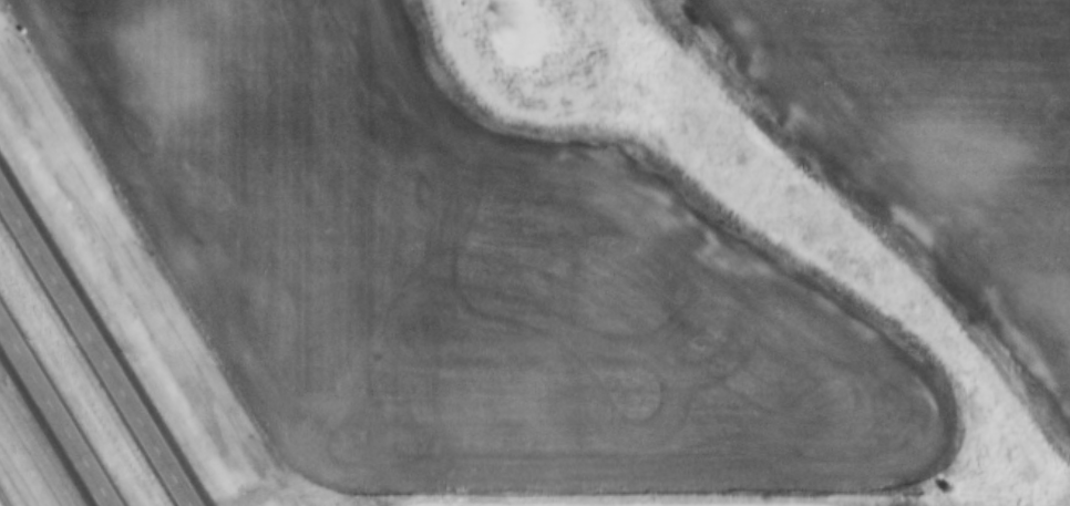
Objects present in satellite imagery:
road: (96, 347)
road: (55, 412)
railway: (3, 499)

